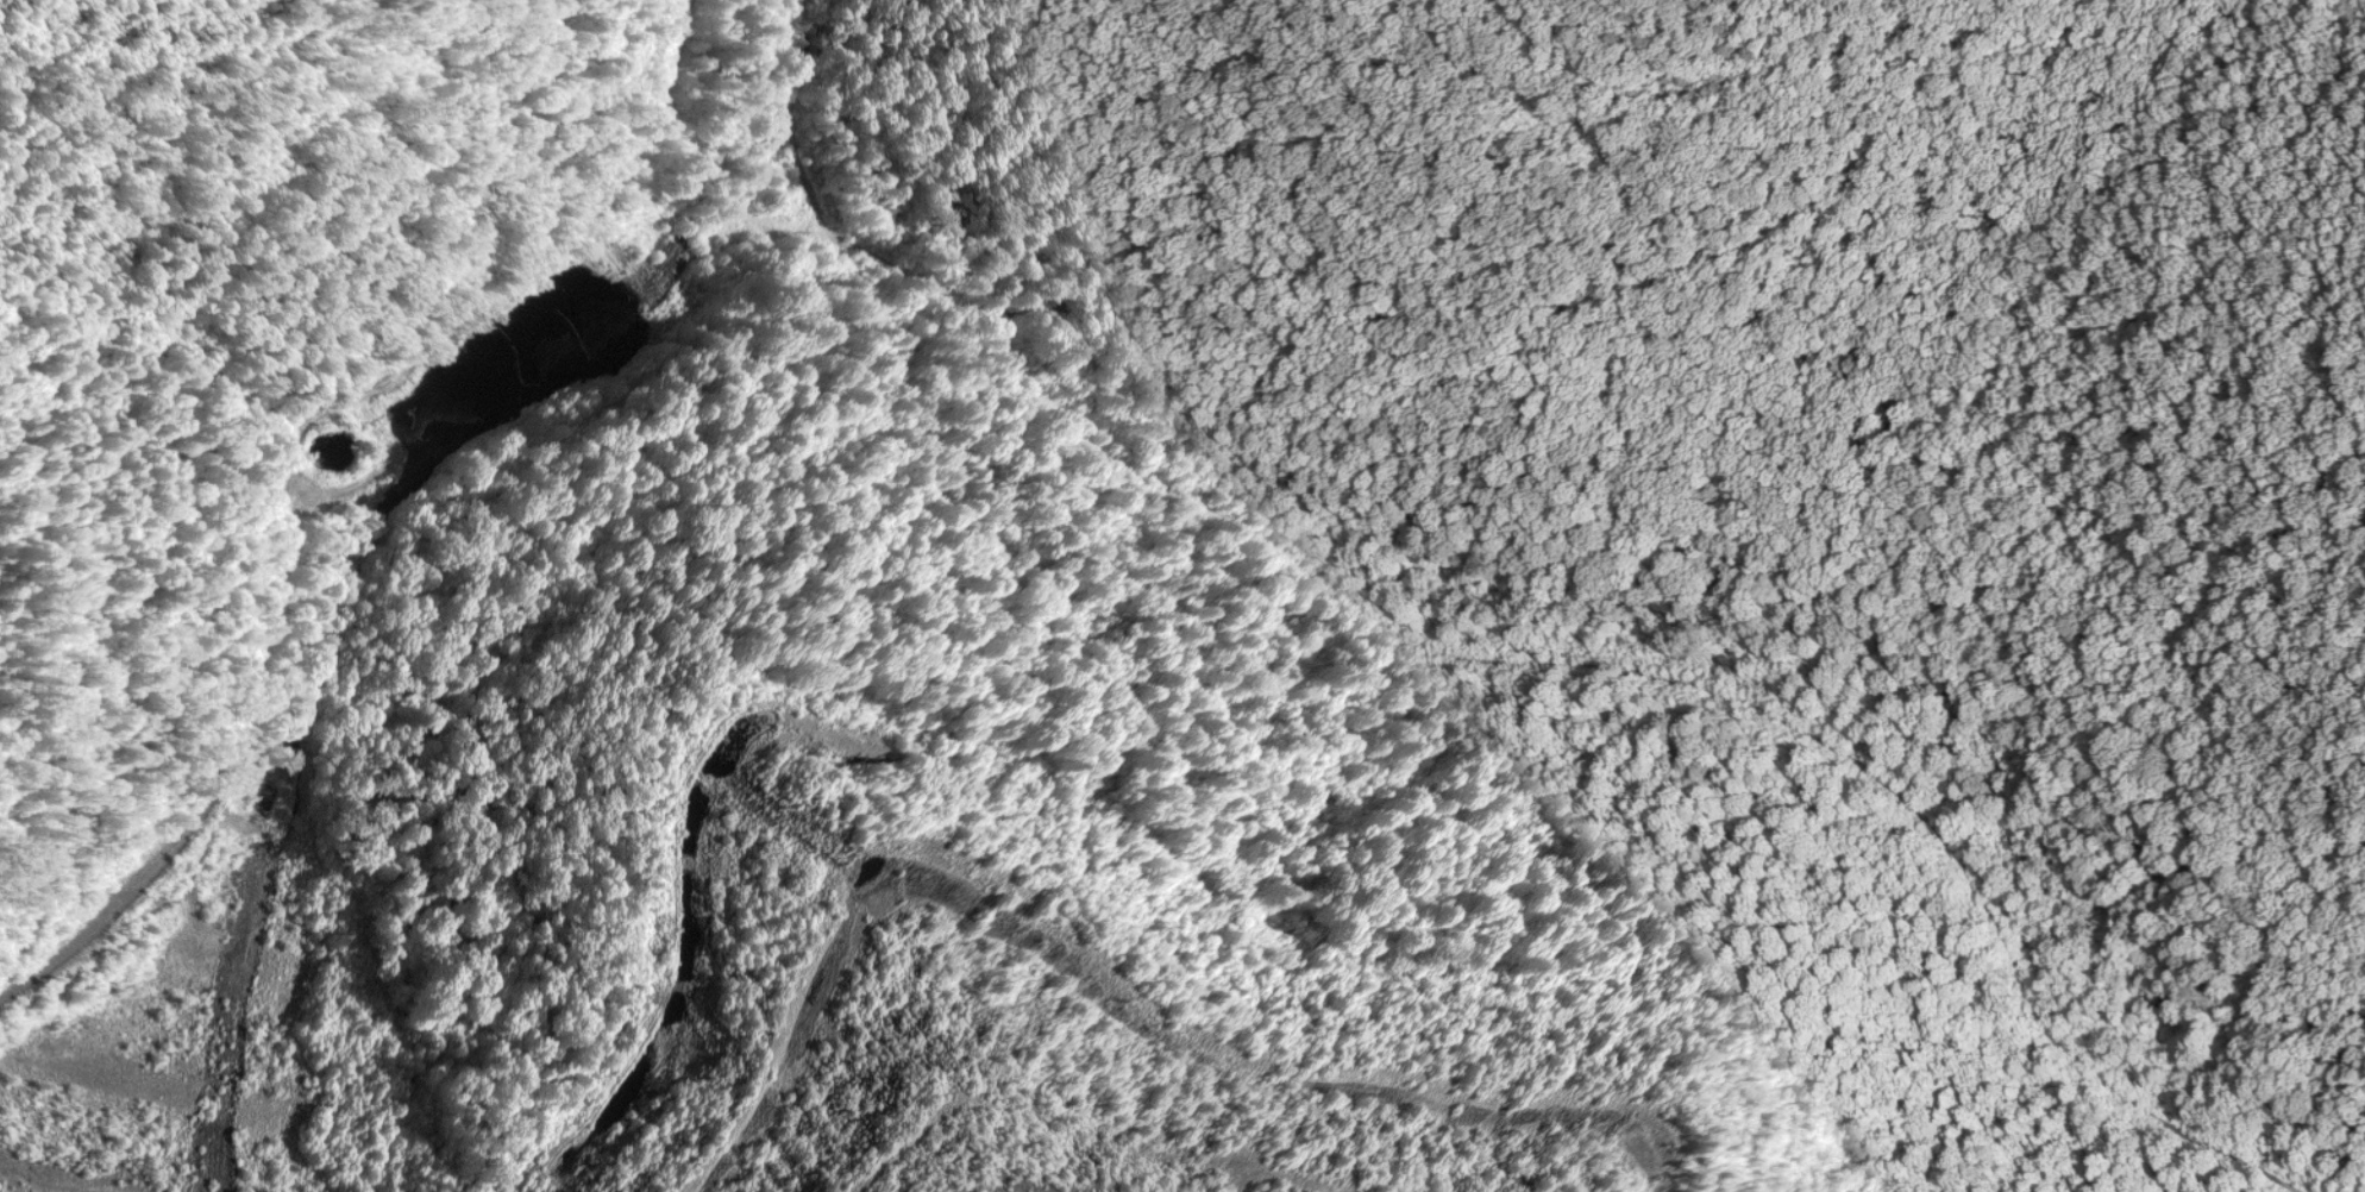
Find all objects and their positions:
quarry: (1182, 596)

